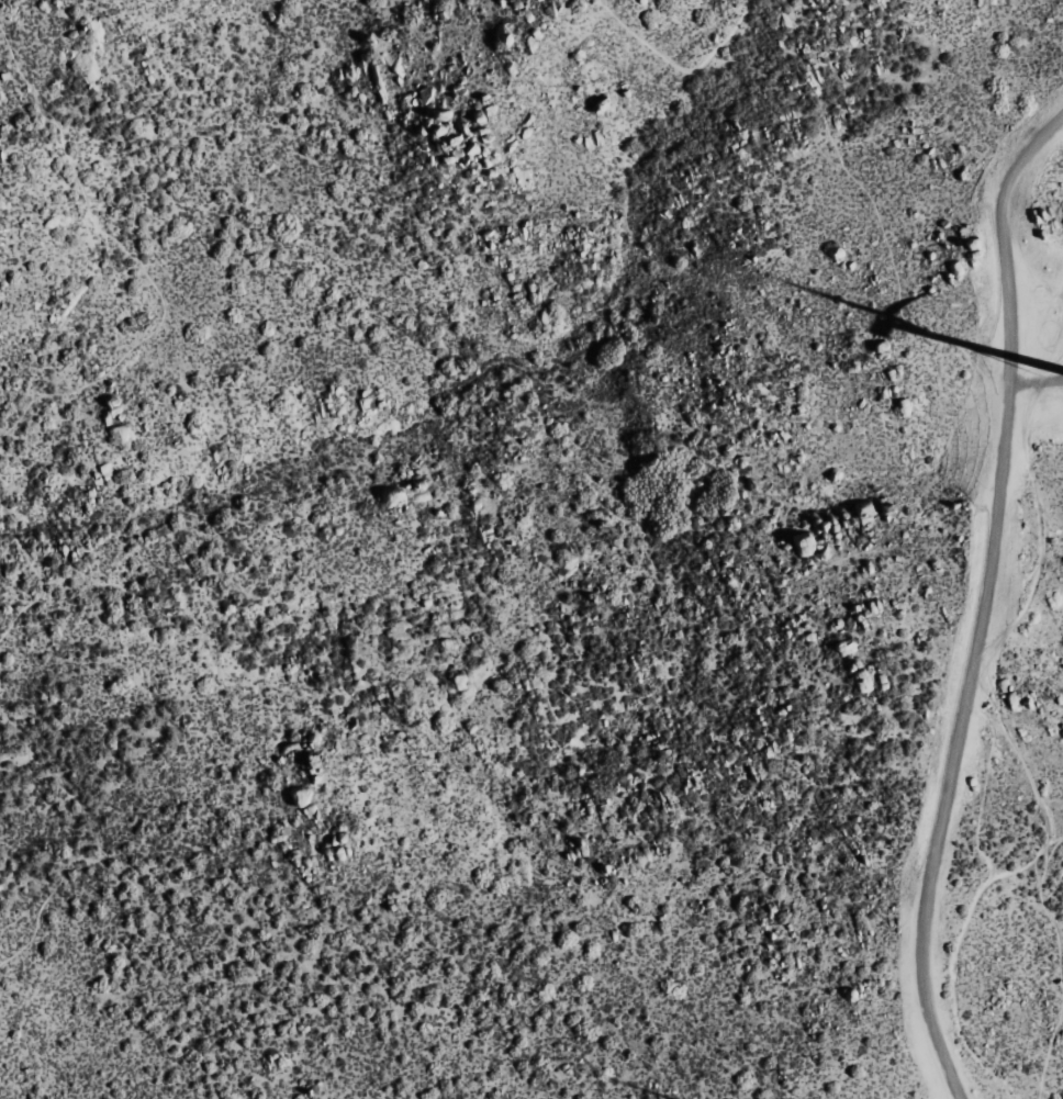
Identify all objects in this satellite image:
road: (981, 599)
road: (1017, 700)

